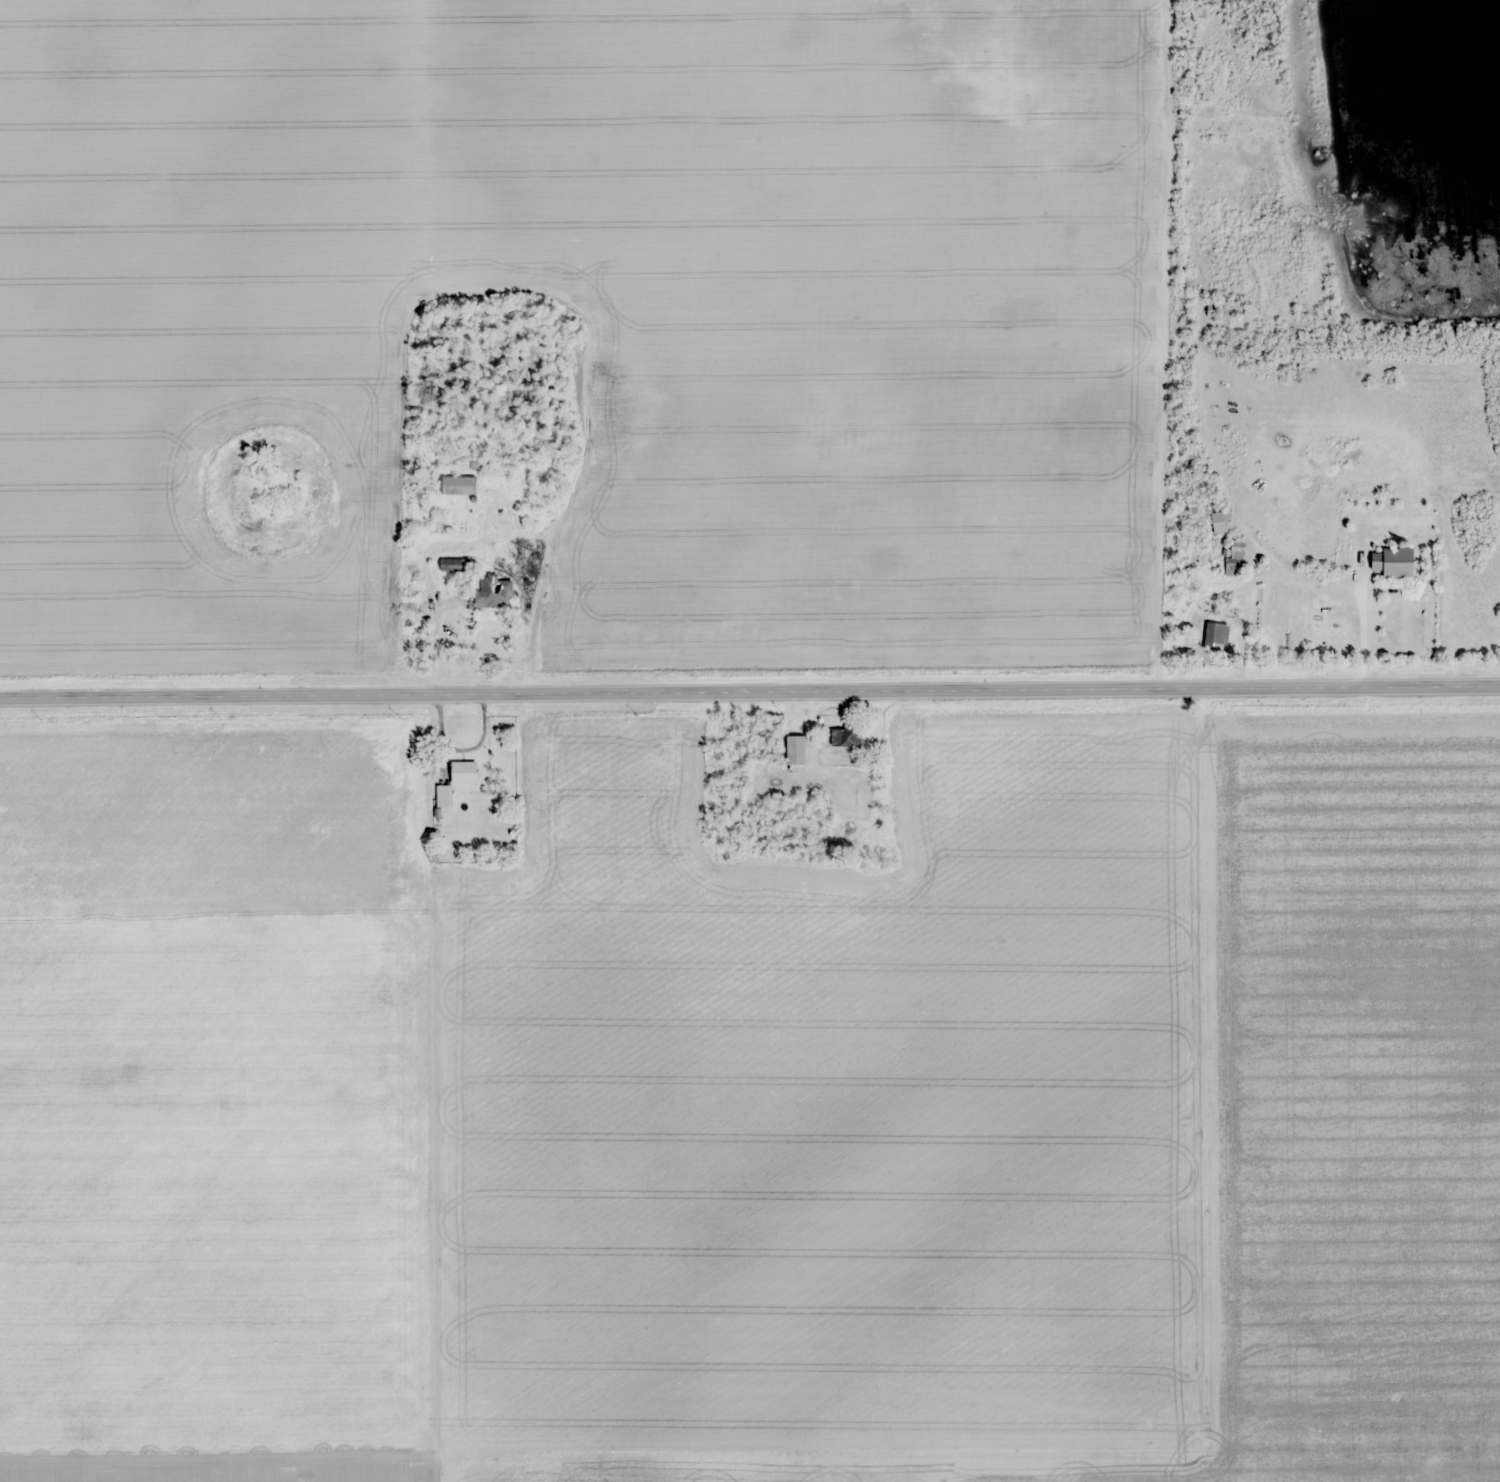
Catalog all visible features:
building: (1214, 308)
building: (459, 485)
building: (1234, 556)
building: (1394, 562)
building: (455, 564)
building: (493, 592)
building: (1216, 636)
road: (749, 689)
building: (846, 736)
road: (1169, 741)
building: (796, 753)
building: (464, 772)
building: (443, 795)

